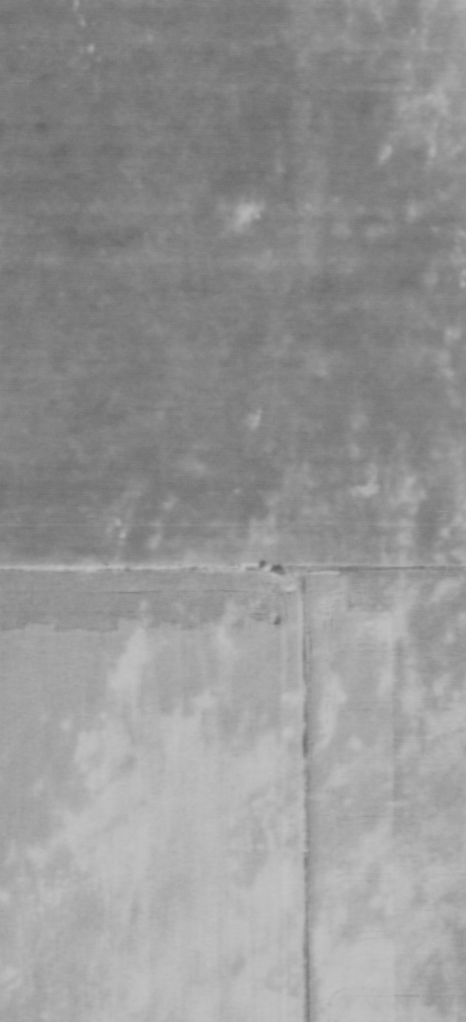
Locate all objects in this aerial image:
crop: (232, 274)

